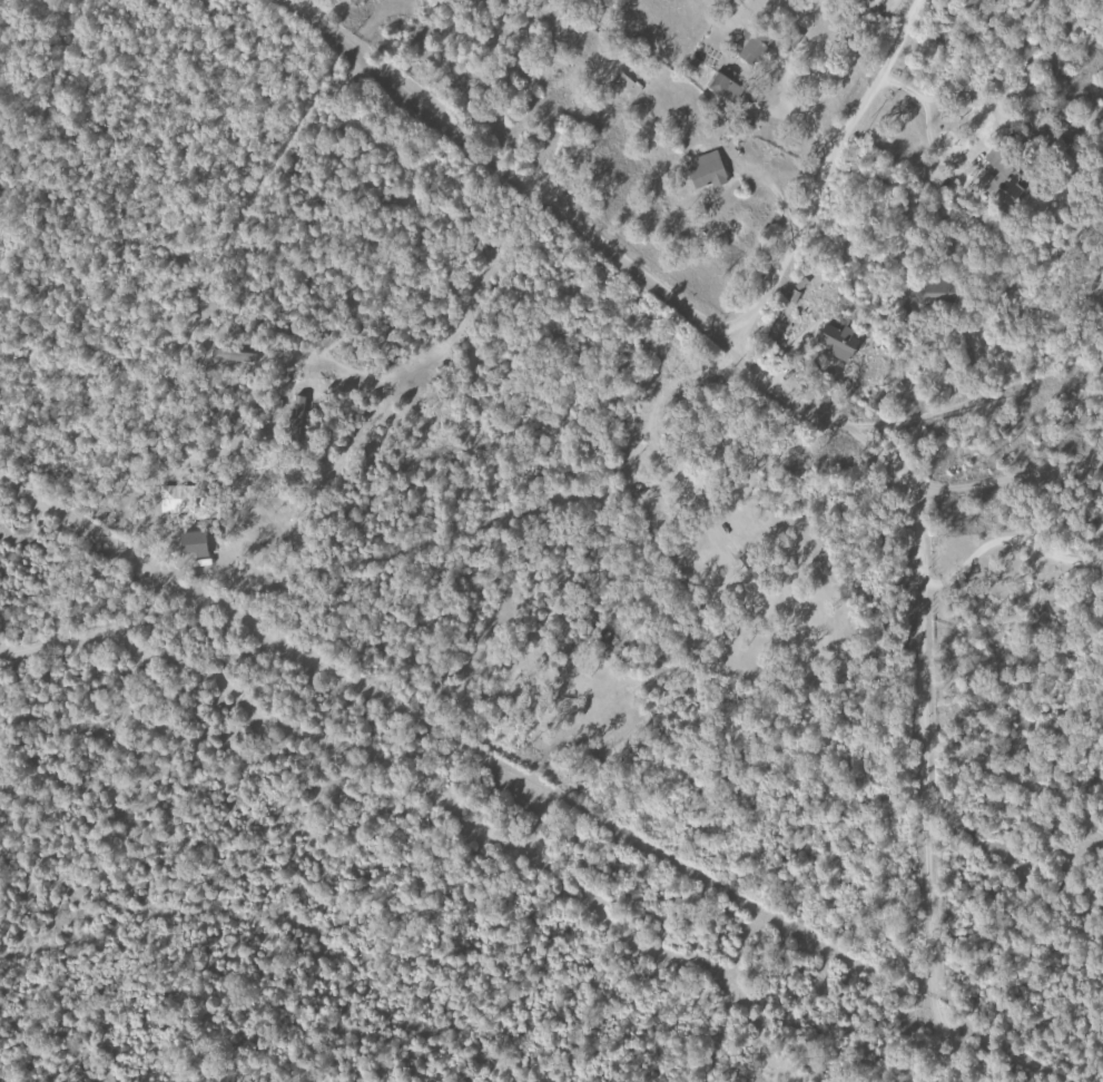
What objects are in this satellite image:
road: (303, 7)
building: (752, 45)
building: (626, 83)
building: (725, 87)
road: (927, 125)
building: (705, 169)
road: (823, 174)
building: (1010, 183)
building: (940, 291)
building: (791, 295)
building: (837, 341)
road: (195, 346)
building: (232, 355)
road: (930, 413)
building: (294, 419)
road: (831, 429)
road: (998, 478)
road: (1005, 534)
building: (191, 542)
road: (1017, 781)
road: (1023, 984)

